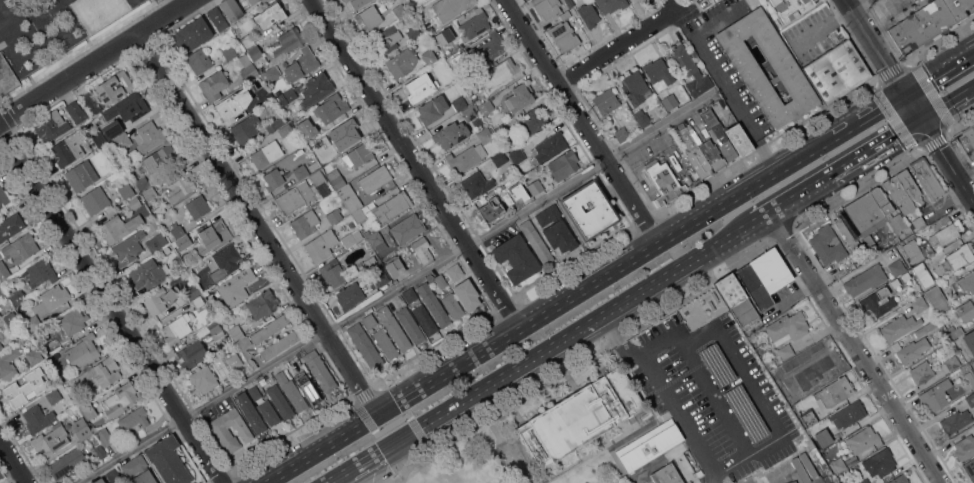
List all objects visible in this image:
building: (265, 0)
building: (253, 1)
building: (352, 2)
building: (570, 2)
building: (611, 5)
road: (860, 5)
building: (450, 7)
building: (546, 7)
building: (790, 7)
building: (960, 8)
building: (231, 9)
building: (402, 9)
building: (273, 12)
building: (565, 14)
building: (589, 14)
building: (369, 16)
building: (218, 18)
building: (922, 27)
building: (464, 28)
road: (822, 28)
building: (414, 33)
building: (192, 34)
road: (886, 35)
building: (564, 36)
building: (387, 39)
road: (941, 40)
building: (247, 41)
building: (288, 41)
road: (854, 44)
road: (619, 46)
building: (489, 48)
building: (229, 52)
building: (257, 55)
building: (428, 57)
building: (456, 59)
building: (199, 60)
road: (94, 61)
building: (403, 62)
building: (301, 64)
building: (248, 67)
building: (690, 69)
building: (787, 70)
building: (837, 71)
building: (271, 73)
building: (658, 73)
road: (939, 73)
building: (454, 75)
building: (499, 75)
road: (721, 78)
building: (445, 80)
building: (214, 84)
building: (115, 86)
building: (414, 88)
building: (636, 88)
building: (316, 89)
building: (263, 93)
traffic signals: (906, 95)
building: (287, 96)
building: (474, 97)
building: (520, 97)
building: (606, 101)
building: (670, 101)
road: (909, 101)
building: (91, 102)
building: (459, 102)
road: (948, 105)
building: (128, 107)
building: (228, 107)
building: (486, 107)
building: (331, 108)
building: (432, 109)
building: (76, 111)
building: (471, 112)
building: (642, 117)
building: (533, 121)
traffic signals: (922, 121)
building: (277, 122)
road: (582, 122)
road: (965, 125)
building: (972, 125)
building: (52, 126)
building: (246, 128)
building: (286, 129)
road: (947, 129)
building: (113, 130)
building: (306, 130)
building: (500, 131)
building: (346, 132)
building: (484, 133)
building: (621, 133)
building: (719, 133)
building: (450, 134)
building: (148, 136)
building: (100, 138)
building: (739, 138)
building: (121, 141)
building: (966, 141)
building: (550, 146)
road: (957, 147)
building: (70, 148)
building: (268, 152)
building: (701, 152)
building: (358, 154)
building: (517, 155)
building: (159, 157)
building: (322, 158)
building: (466, 158)
building: (500, 158)
building: (564, 164)
road: (415, 165)
building: (131, 168)
road: (839, 171)
building: (300, 173)
building: (81, 175)
building: (336, 177)
building: (927, 177)
building: (375, 178)
building: (274, 179)
building: (667, 182)
building: (142, 183)
building: (476, 183)
building: (516, 183)
building: (181, 185)
building: (535, 187)
road: (945, 187)
building: (326, 189)
building: (904, 190)
building: (126, 191)
building: (300, 193)
building: (149, 194)
building: (3, 197)
building: (350, 198)
building: (95, 199)
building: (134, 203)
building: (198, 206)
building: (392, 206)
building: (589, 209)
building: (159, 210)
building: (492, 210)
building: (334, 215)
building: (359, 215)
building: (874, 215)
building: (917, 221)
building: (305, 223)
building: (10, 225)
building: (153, 225)
road: (258, 225)
building: (119, 226)
building: (408, 228)
building: (556, 228)
building: (177, 229)
building: (849, 230)
building: (945, 230)
building: (357, 236)
building: (212, 237)
building: (375, 238)
building: (183, 241)
building: (348, 241)
building: (537, 241)
building: (156, 242)
building: (819, 243)
building: (321, 245)
building: (21, 247)
building: (129, 247)
building: (421, 250)
building: (914, 250)
building: (958, 257)
building: (516, 258)
building: (224, 262)
building: (897, 267)
building: (394, 268)
building: (455, 270)
building: (4, 271)
building: (40, 272)
building: (337, 272)
building: (147, 274)
building: (923, 274)
building: (381, 278)
building: (764, 278)
building: (865, 279)
building: (441, 280)
building: (967, 282)
building: (236, 286)
road: (395, 288)
road: (587, 289)
building: (732, 289)
building: (192, 292)
building: (410, 294)
building: (467, 294)
building: (350, 295)
building: (973, 295)
building: (17, 296)
building: (52, 298)
building: (159, 299)
building: (6, 300)
building: (938, 300)
building: (198, 302)
building: (878, 302)
building: (919, 303)
building: (262, 304)
building: (434, 304)
building: (453, 305)
road: (111, 307)
building: (727, 310)
building: (965, 311)
building: (0, 315)
building: (744, 316)
building: (11, 318)
building: (425, 319)
building: (73, 320)
building: (369, 320)
building: (33, 322)
building: (410, 324)
building: (899, 326)
building: (787, 327)
building: (177, 328)
building: (270, 328)
building: (394, 328)
building: (925, 328)
building: (216, 330)
building: (237, 333)
building: (970, 340)
building: (386, 343)
building: (280, 344)
building: (365, 345)
building: (1, 346)
road: (551, 346)
road: (857, 347)
building: (53, 349)
building: (246, 350)
building: (785, 350)
building: (910, 350)
building: (83, 351)
building: (191, 354)
building: (34, 356)
building: (801, 357)
building: (235, 360)
building: (952, 362)
building: (9, 364)
building: (320, 370)
building: (812, 372)
building: (921, 372)
building: (97, 375)
building: (970, 376)
building: (204, 378)
road: (750, 384)
building: (24, 387)
building: (309, 389)
building: (291, 391)
building: (834, 392)
building: (255, 393)
building: (53, 395)
building: (936, 395)
building: (971, 399)
building: (120, 400)
building: (280, 401)
building: (88, 411)
building: (250, 412)
building: (269, 412)
building: (848, 414)
building: (581, 417)
building: (808, 417)
building: (38, 418)
building: (134, 418)
building: (956, 420)
building: (81, 428)
building: (221, 430)
building: (105, 437)
building: (822, 437)
building: (29, 438)
building: (829, 438)
building: (51, 439)
building: (864, 439)
building: (651, 446)
building: (965, 447)
building: (100, 450)
building: (168, 460)
road: (13, 461)
building: (883, 461)
building: (66, 462)
building: (838, 465)
building: (805, 467)
building: (969, 469)
building: (138, 470)
building: (791, 472)
road: (730, 473)
building: (667, 474)
building: (113, 475)
building: (776, 476)
road: (336, 477)
building: (900, 479)
building: (99, 480)
building: (748, 480)
building: (865, 480)
building: (688, 482)

